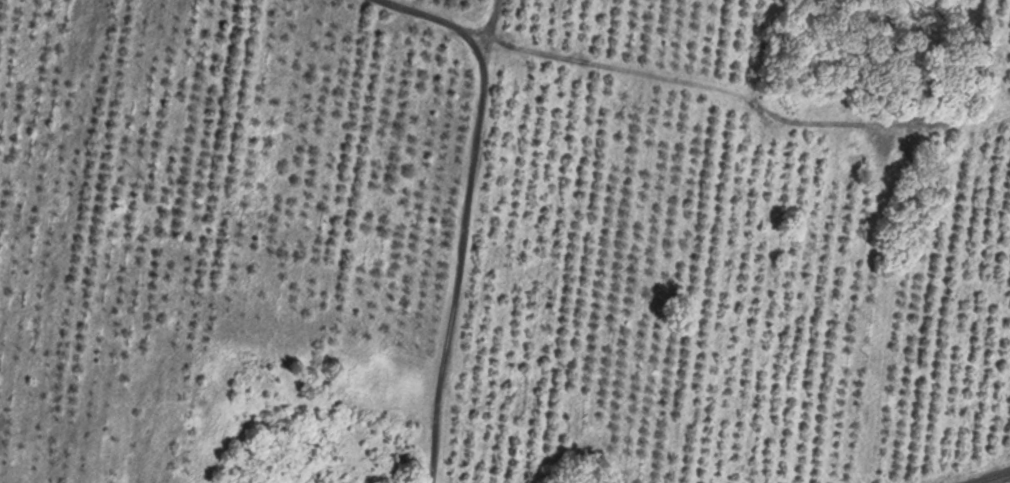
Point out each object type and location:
road: (486, 23)
road: (749, 93)
road: (470, 212)
railway: (994, 477)

